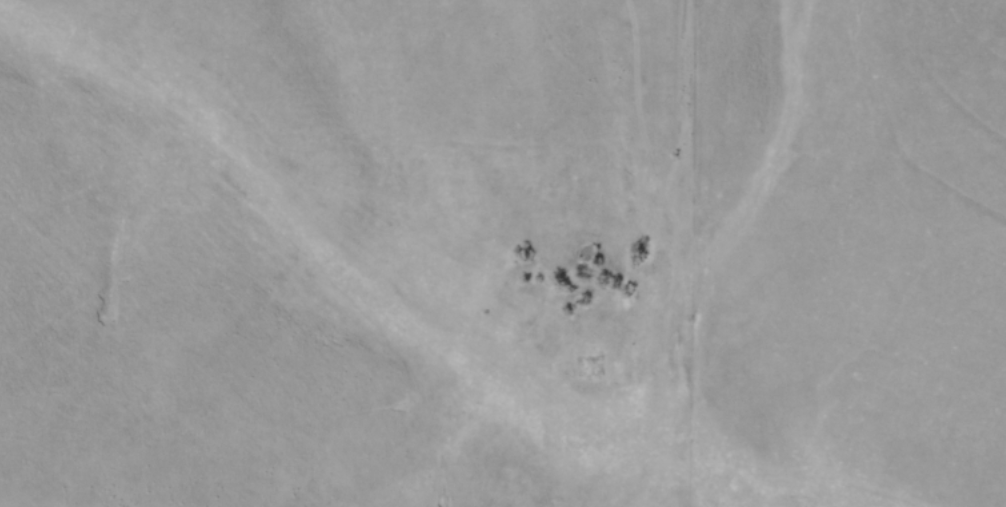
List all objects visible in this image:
building: (584, 254)

